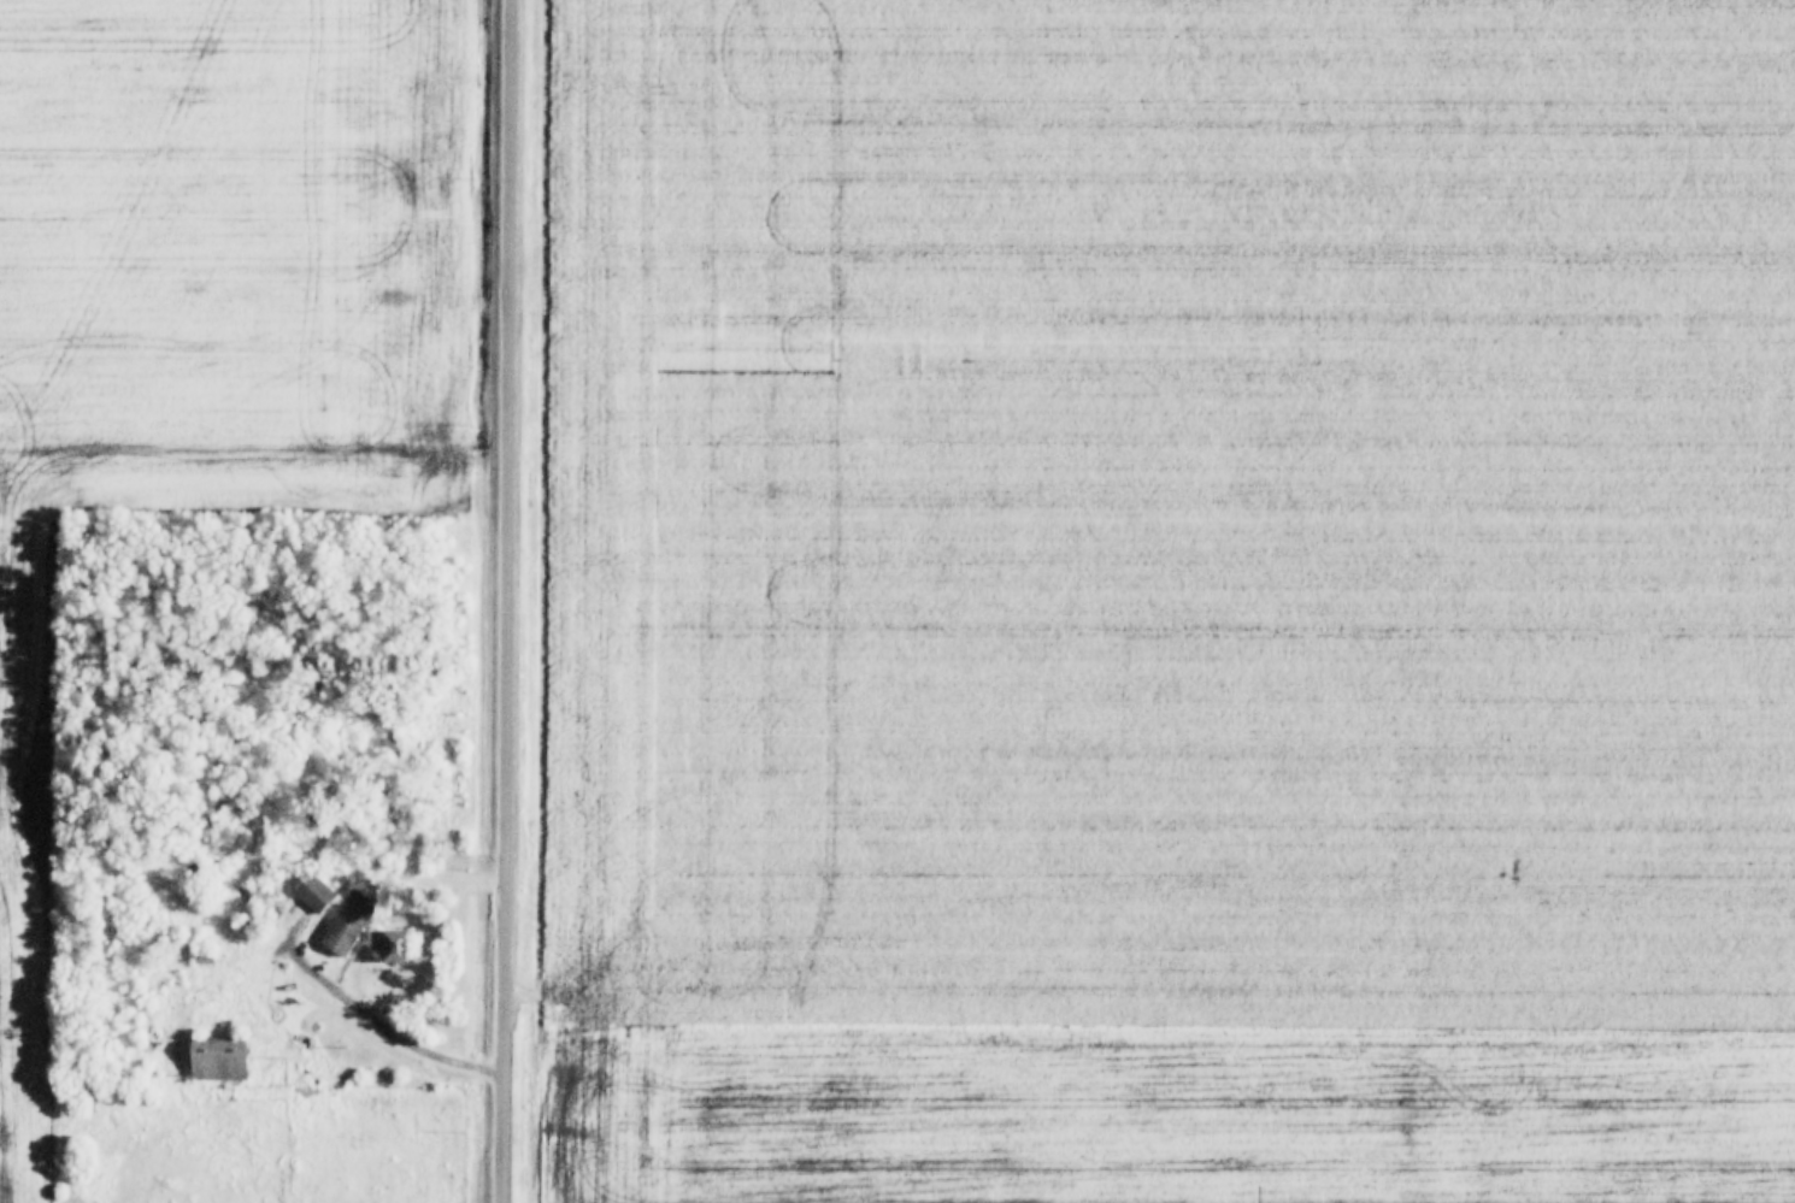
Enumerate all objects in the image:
road: (506, 601)
building: (310, 890)
building: (341, 926)

